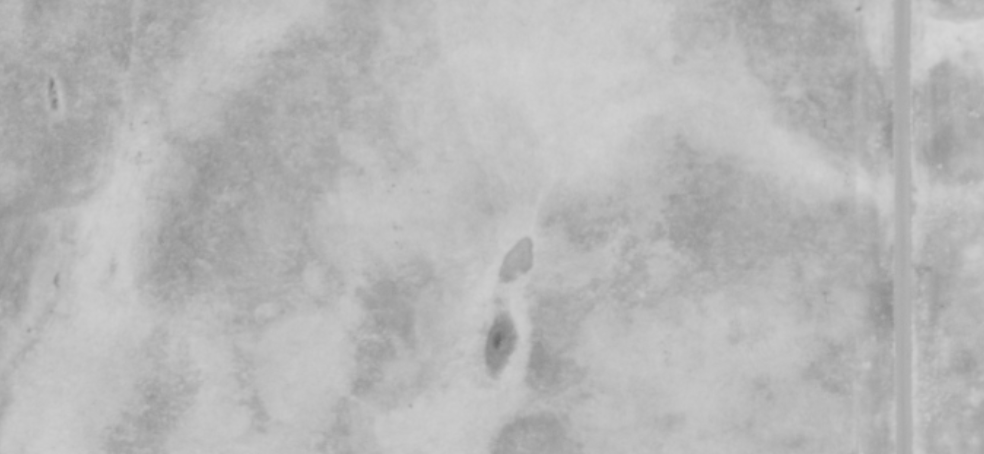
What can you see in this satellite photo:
road: (904, 227)

